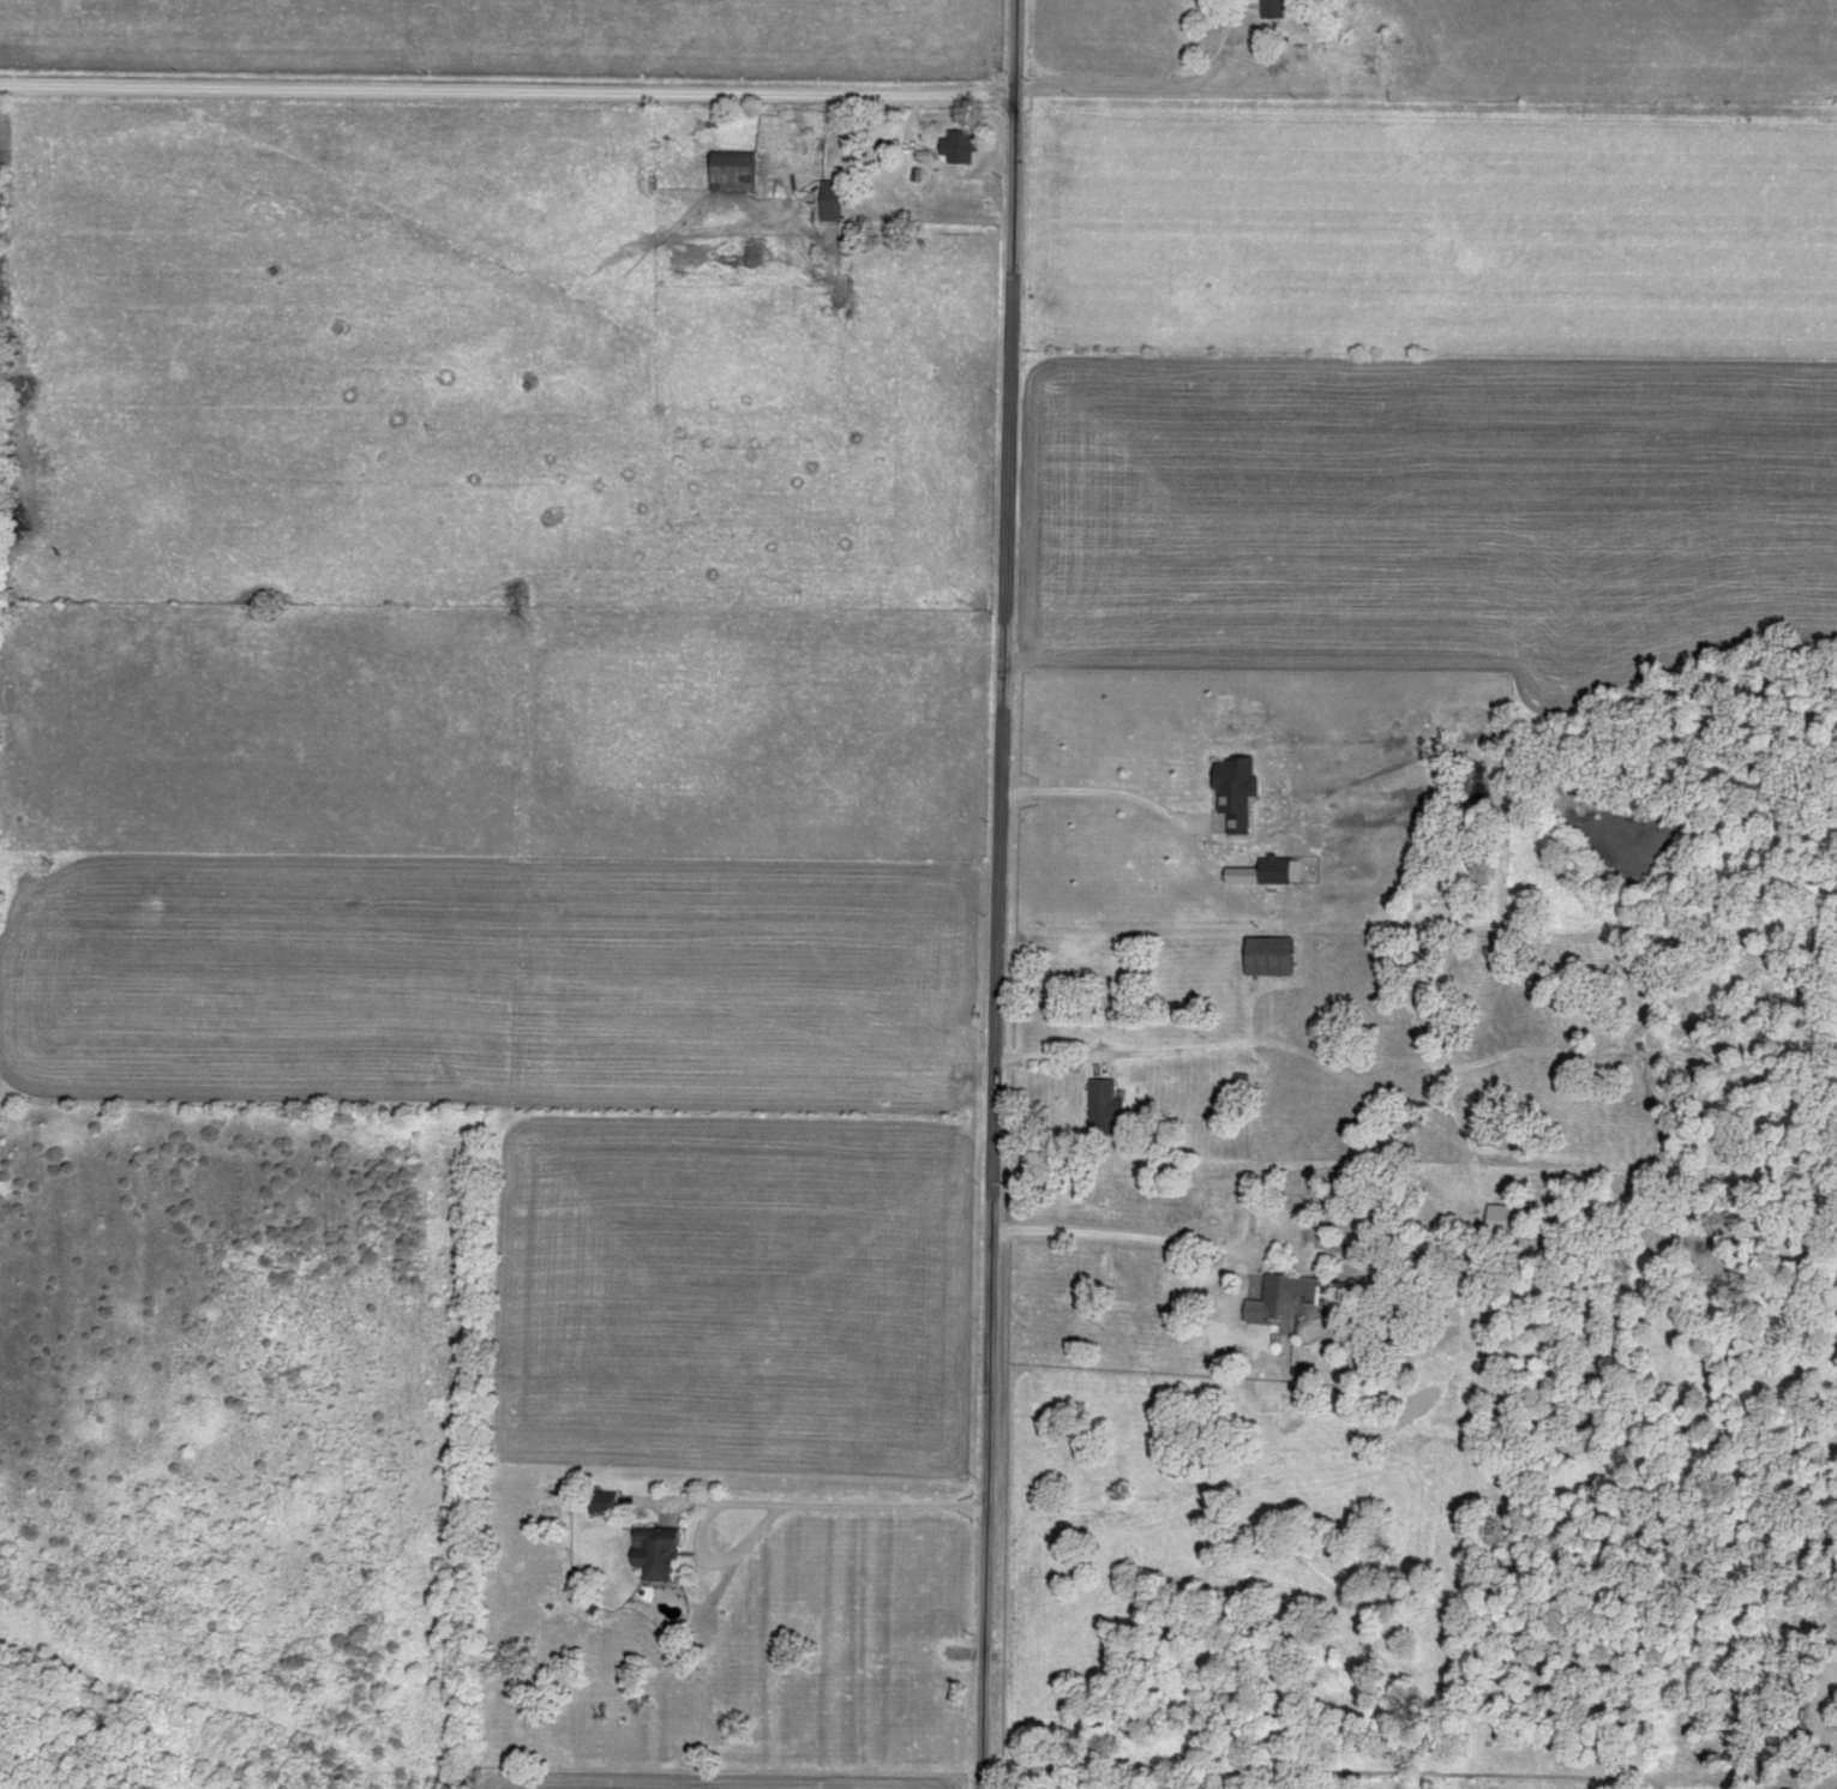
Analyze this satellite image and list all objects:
building: (1269, 10)
road: (504, 96)
building: (955, 148)
building: (728, 173)
building: (827, 202)
road: (1093, 793)
road: (996, 894)
building: (1266, 956)
building: (1100, 1107)
building: (1500, 1220)
road: (1115, 1235)
building: (1277, 1299)
road: (769, 1506)
building: (649, 1553)
road: (1819, 1722)

